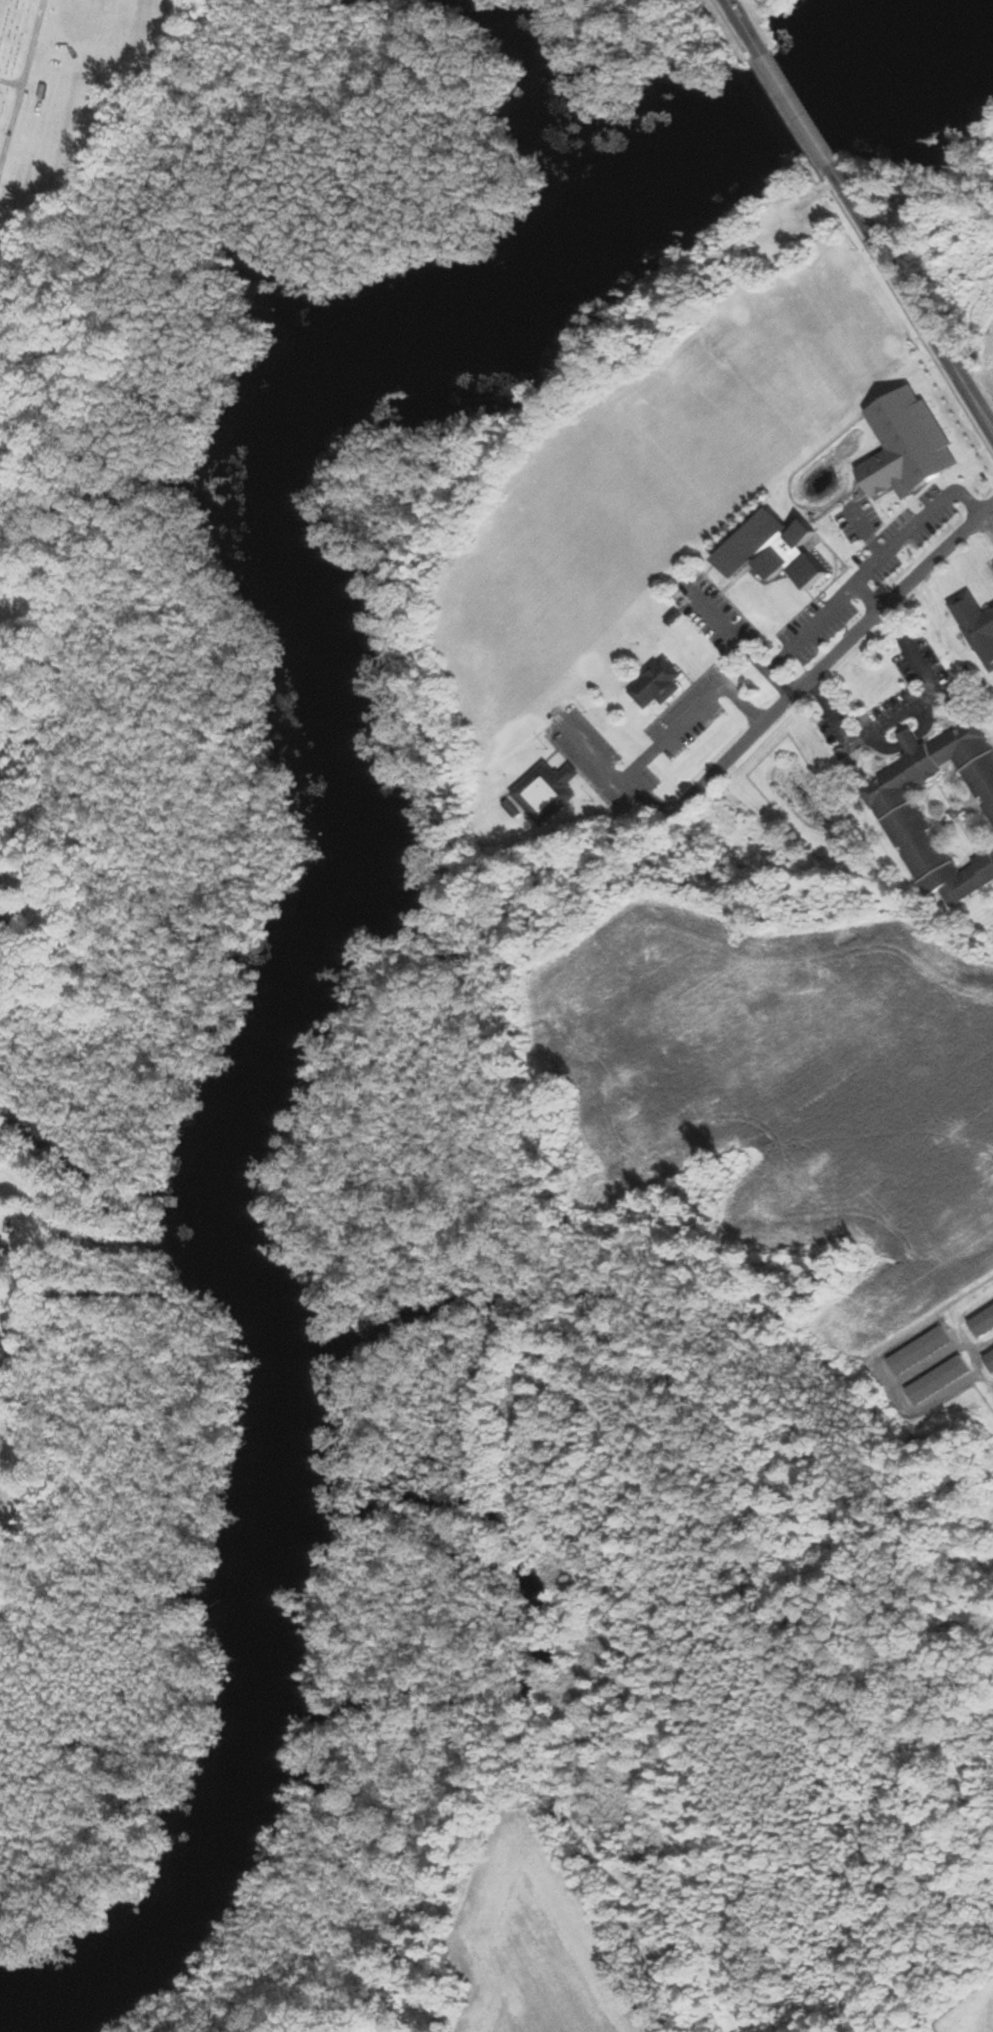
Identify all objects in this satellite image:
road: (741, 21)
road: (793, 103)
park: (35, 107)
road: (911, 298)
road: (986, 525)
building: (777, 552)
building: (978, 626)
road: (833, 652)
building: (659, 685)
road: (905, 715)
road: (674, 735)
building: (549, 792)
building: (943, 811)
building: (983, 1321)
building: (922, 1351)
building: (990, 1358)
building: (942, 1380)

